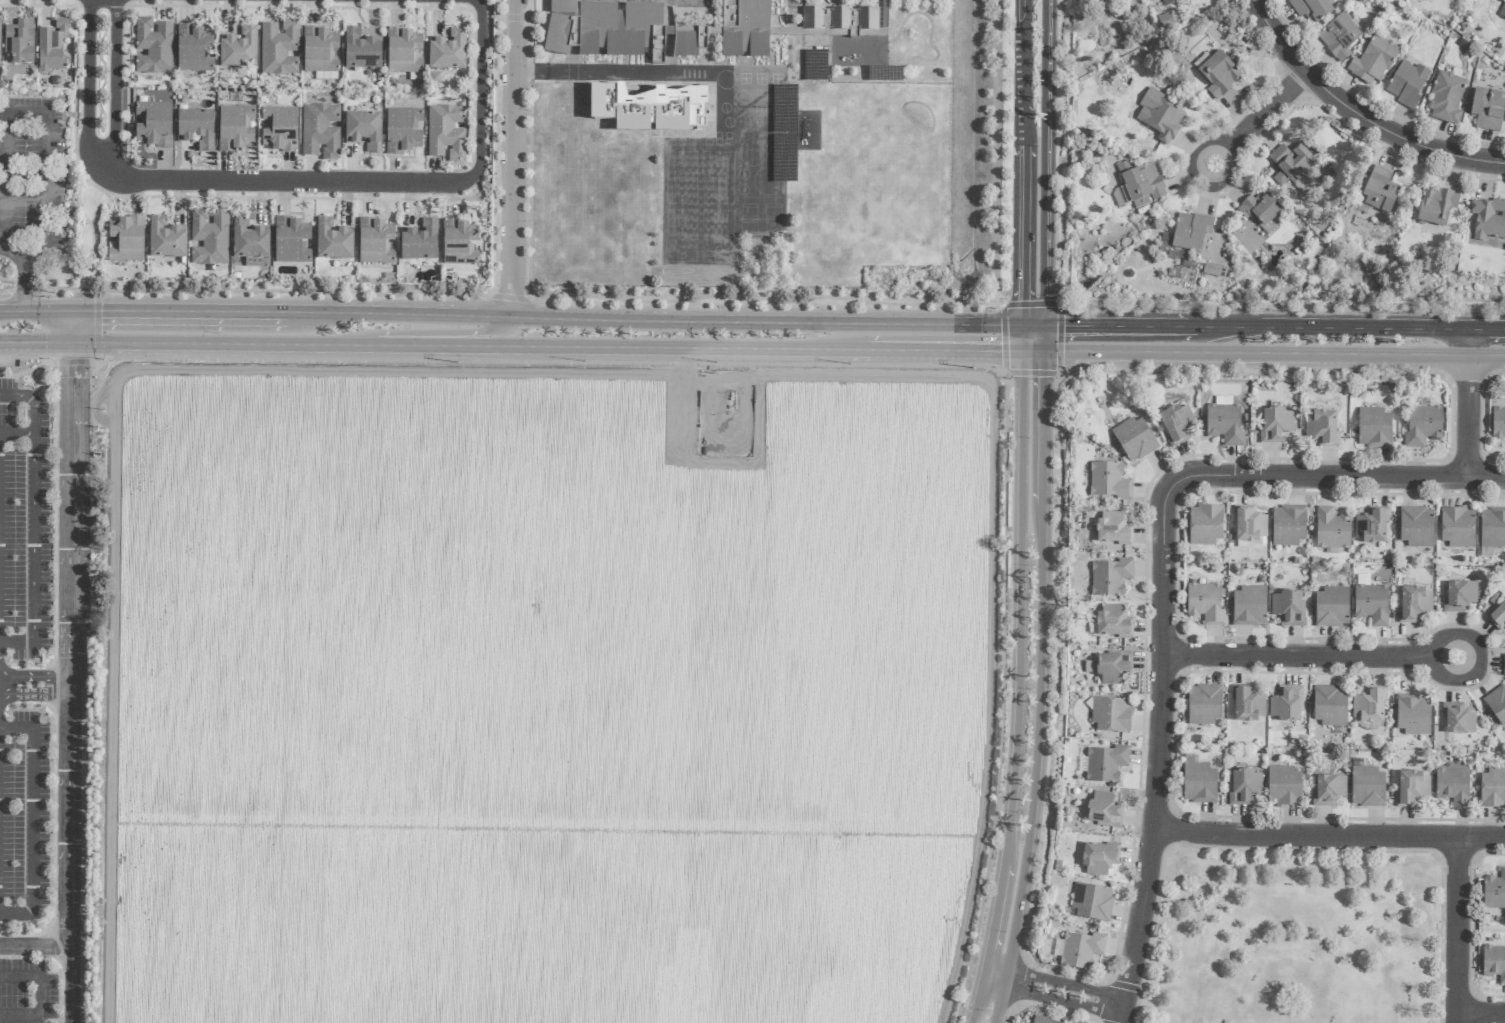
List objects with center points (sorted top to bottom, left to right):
building: (1169, 2)
building: (1311, 9)
building: (1502, 11)
building: (841, 19)
building: (745, 28)
building: (607, 29)
building: (1339, 37)
building: (19, 41)
building: (689, 41)
building: (153, 46)
building: (52, 47)
building: (193, 49)
building: (239, 49)
building: (279, 49)
building: (321, 50)
building: (361, 50)
building: (404, 51)
building: (448, 51)
building: (1373, 61)
building: (0, 62)
road: (590, 69)
building: (1216, 73)
building: (326, 76)
building: (1407, 84)
road: (101, 86)
road: (479, 91)
building: (1446, 98)
building: (1487, 109)
road: (1358, 114)
building: (1159, 116)
building: (151, 123)
building: (196, 128)
building: (235, 128)
building: (279, 129)
road: (1252, 129)
building: (364, 130)
building: (403, 130)
building: (320, 131)
building: (446, 132)
road: (1060, 151)
road: (998, 154)
road: (511, 158)
road: (1024, 162)
road: (1044, 162)
building: (1292, 162)
road: (44, 173)
parking lot: (29, 175)
road: (285, 182)
building: (1141, 183)
building: (1379, 191)
building: (1437, 206)
building: (1260, 209)
road: (4, 215)
building: (1488, 219)
building: (1190, 232)
building: (125, 237)
building: (209, 238)
building: (166, 239)
building: (291, 240)
building: (249, 241)
building: (333, 241)
building: (375, 242)
building: (419, 242)
building: (458, 243)
building: (1211, 269)
road: (499, 294)
road: (1282, 305)
traffic signals: (102, 309)
road: (36, 310)
road: (188, 310)
road: (673, 319)
road: (73, 326)
road: (1124, 326)
road: (1339, 329)
road: (1488, 331)
road: (415, 333)
road: (1042, 338)
traffic signals: (44, 342)
road: (183, 343)
road: (1470, 344)
road: (416, 346)
road: (665, 348)
road: (953, 351)
road: (1273, 354)
traffic signals: (73, 365)
road: (1059, 369)
road: (1255, 374)
road: (1499, 375)
road: (1470, 418)
building: (1224, 421)
building: (1498, 423)
building: (1275, 425)
building: (1422, 426)
building: (1321, 428)
building: (1374, 428)
road: (17, 431)
building: (1135, 439)
road: (1338, 478)
building: (1108, 480)
road: (34, 517)
building: (1205, 525)
building: (1288, 525)
building: (1371, 526)
building: (1416, 527)
building: (1492, 527)
building: (1457, 528)
building: (1113, 529)
building: (1331, 529)
building: (1110, 577)
building: (1459, 596)
building: (1205, 603)
building: (1414, 603)
building: (1371, 604)
building: (1249, 606)
building: (1288, 607)
building: (1332, 607)
building: (1498, 617)
building: (1112, 621)
road: (1326, 657)
road: (1040, 662)
building: (1503, 665)
building: (1113, 666)
building: (1090, 667)
road: (1017, 675)
road: (72, 682)
road: (36, 684)
crop: (535, 691)
building: (1204, 704)
building: (1286, 704)
building: (1497, 704)
building: (1247, 705)
building: (1330, 705)
building: (1368, 706)
building: (1111, 714)
building: (1413, 714)
building: (1457, 719)
road: (1161, 753)
building: (1106, 763)
building: (1198, 781)
building: (1244, 786)
building: (1283, 786)
building: (1452, 786)
building: (1367, 787)
building: (1412, 788)
building: (1492, 788)
building: (1328, 790)
building: (1104, 810)
road: (33, 817)
road: (1331, 838)
building: (1098, 859)
building: (1494, 891)
building: (1092, 902)
road: (1459, 931)
park: (1296, 938)
road: (35, 945)
building: (1081, 949)
building: (1494, 963)
road: (38, 978)
road: (1058, 983)
road: (998, 996)
road: (1054, 1001)
road: (20, 1015)
road: (1482, 1016)
building: (1042, 1020)

